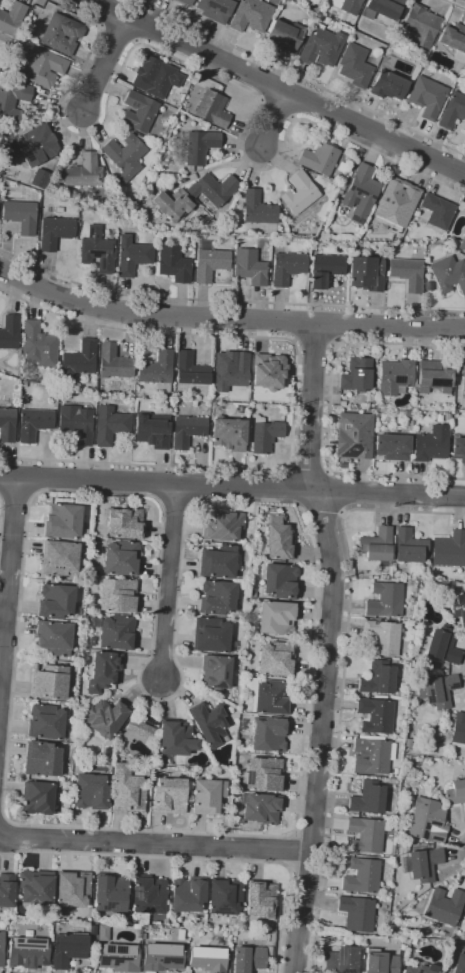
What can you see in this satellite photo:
building: (170, 0)
building: (236, 0)
building: (185, 2)
road: (454, 4)
building: (347, 7)
building: (384, 8)
building: (215, 9)
building: (250, 16)
building: (12, 18)
building: (421, 25)
building: (61, 34)
building: (285, 35)
building: (454, 40)
building: (321, 47)
road: (104, 63)
building: (354, 66)
building: (45, 68)
building: (156, 77)
road: (217, 77)
road: (299, 77)
building: (388, 85)
road: (278, 87)
building: (427, 97)
building: (12, 102)
building: (212, 109)
building: (452, 111)
building: (139, 112)
road: (273, 119)
rooftop solar panel: (11, 145)
building: (29, 146)
building: (198, 146)
rooftop solar panel: (28, 155)
rooftop solar panel: (8, 156)
building: (125, 156)
building: (319, 159)
building: (341, 167)
building: (82, 172)
building: (40, 179)
rooftop solar panel: (349, 187)
rooftop solar panel: (360, 191)
building: (300, 193)
building: (361, 193)
building: (195, 195)
rooftop solar panel: (371, 196)
building: (397, 202)
building: (258, 209)
building: (437, 211)
building: (21, 216)
building: (56, 232)
building: (462, 243)
building: (97, 250)
rooftop solar panel: (95, 253)
building: (132, 256)
building: (210, 262)
building: (173, 264)
building: (250, 267)
building: (287, 267)
building: (325, 269)
building: (366, 273)
building: (407, 273)
building: (448, 274)
building: (428, 286)
road: (228, 299)
road: (228, 318)
road: (295, 323)
road: (339, 323)
building: (10, 332)
road: (314, 342)
road: (401, 344)
building: (39, 346)
building: (79, 360)
building: (114, 362)
building: (190, 369)
building: (158, 370)
building: (230, 370)
building: (268, 371)
building: (357, 375)
building: (395, 377)
building: (435, 377)
building: (463, 379)
rooftop solar panel: (399, 380)
road: (294, 398)
building: (342, 404)
building: (76, 422)
building: (34, 423)
building: (7, 425)
building: (110, 425)
building: (153, 430)
building: (187, 430)
building: (229, 433)
building: (265, 434)
building: (354, 436)
rooftop solar panel: (344, 438)
building: (431, 444)
building: (392, 447)
rooftop solar panel: (341, 448)
building: (458, 449)
rooftop solar panel: (353, 451)
road: (288, 469)
road: (327, 470)
road: (333, 470)
road: (307, 471)
road: (30, 476)
road: (232, 485)
road: (289, 486)
road: (330, 491)
road: (15, 492)
road: (32, 495)
road: (174, 505)
road: (318, 508)
road: (403, 511)
road: (340, 512)
building: (63, 521)
building: (125, 523)
building: (222, 526)
building: (278, 538)
building: (378, 544)
building: (409, 547)
building: (449, 549)
building: (59, 558)
building: (121, 558)
road: (159, 558)
building: (218, 562)
building: (280, 580)
road: (169, 581)
road: (9, 583)
building: (118, 595)
building: (217, 597)
building: (385, 599)
building: (56, 601)
building: (276, 617)
building: (461, 617)
building: (115, 631)
building: (213, 635)
building: (383, 637)
building: (54, 638)
building: (441, 644)
road: (328, 647)
building: (275, 658)
building: (428, 665)
building: (103, 671)
building: (216, 671)
building: (378, 678)
building: (50, 682)
building: (438, 690)
building: (269, 696)
building: (376, 715)
building: (104, 718)
building: (150, 719)
building: (46, 722)
building: (210, 723)
building: (141, 729)
building: (458, 730)
building: (68, 734)
building: (269, 735)
building: (175, 741)
building: (408, 742)
road: (337, 743)
building: (419, 746)
building: (107, 751)
building: (372, 755)
building: (42, 759)
building: (263, 775)
building: (128, 787)
building: (91, 791)
building: (455, 792)
building: (169, 796)
building: (208, 796)
building: (38, 797)
building: (440, 797)
building: (368, 798)
building: (260, 808)
building: (427, 821)
rooftop solar panel: (435, 825)
road: (313, 827)
rooftop solar panel: (423, 827)
building: (366, 834)
rooftop solar panel: (421, 837)
rooftop solar panel: (434, 837)
road: (155, 844)
road: (458, 850)
road: (287, 851)
road: (197, 859)
building: (421, 864)
road: (308, 872)
building: (362, 876)
building: (36, 886)
building: (73, 889)
building: (7, 890)
building: (110, 894)
building: (148, 894)
building: (188, 894)
rooftop solar panel: (137, 895)
building: (225, 897)
building: (261, 899)
building: (445, 906)
rooftop solar panel: (146, 908)
rooftop solar panel: (157, 908)
building: (357, 913)
building: (136, 926)
building: (92, 930)
building: (103, 932)
building: (1, 948)
building: (68, 949)
rooftop solar panel: (111, 949)
rooftop solar panel: (121, 950)
building: (269, 951)
building: (28, 952)
building: (119, 957)
building: (162, 957)
building: (459, 958)
building: (208, 959)
building: (248, 959)
rooftop solar panel: (107, 960)
building: (342, 960)
building: (382, 963)
building: (419, 967)

